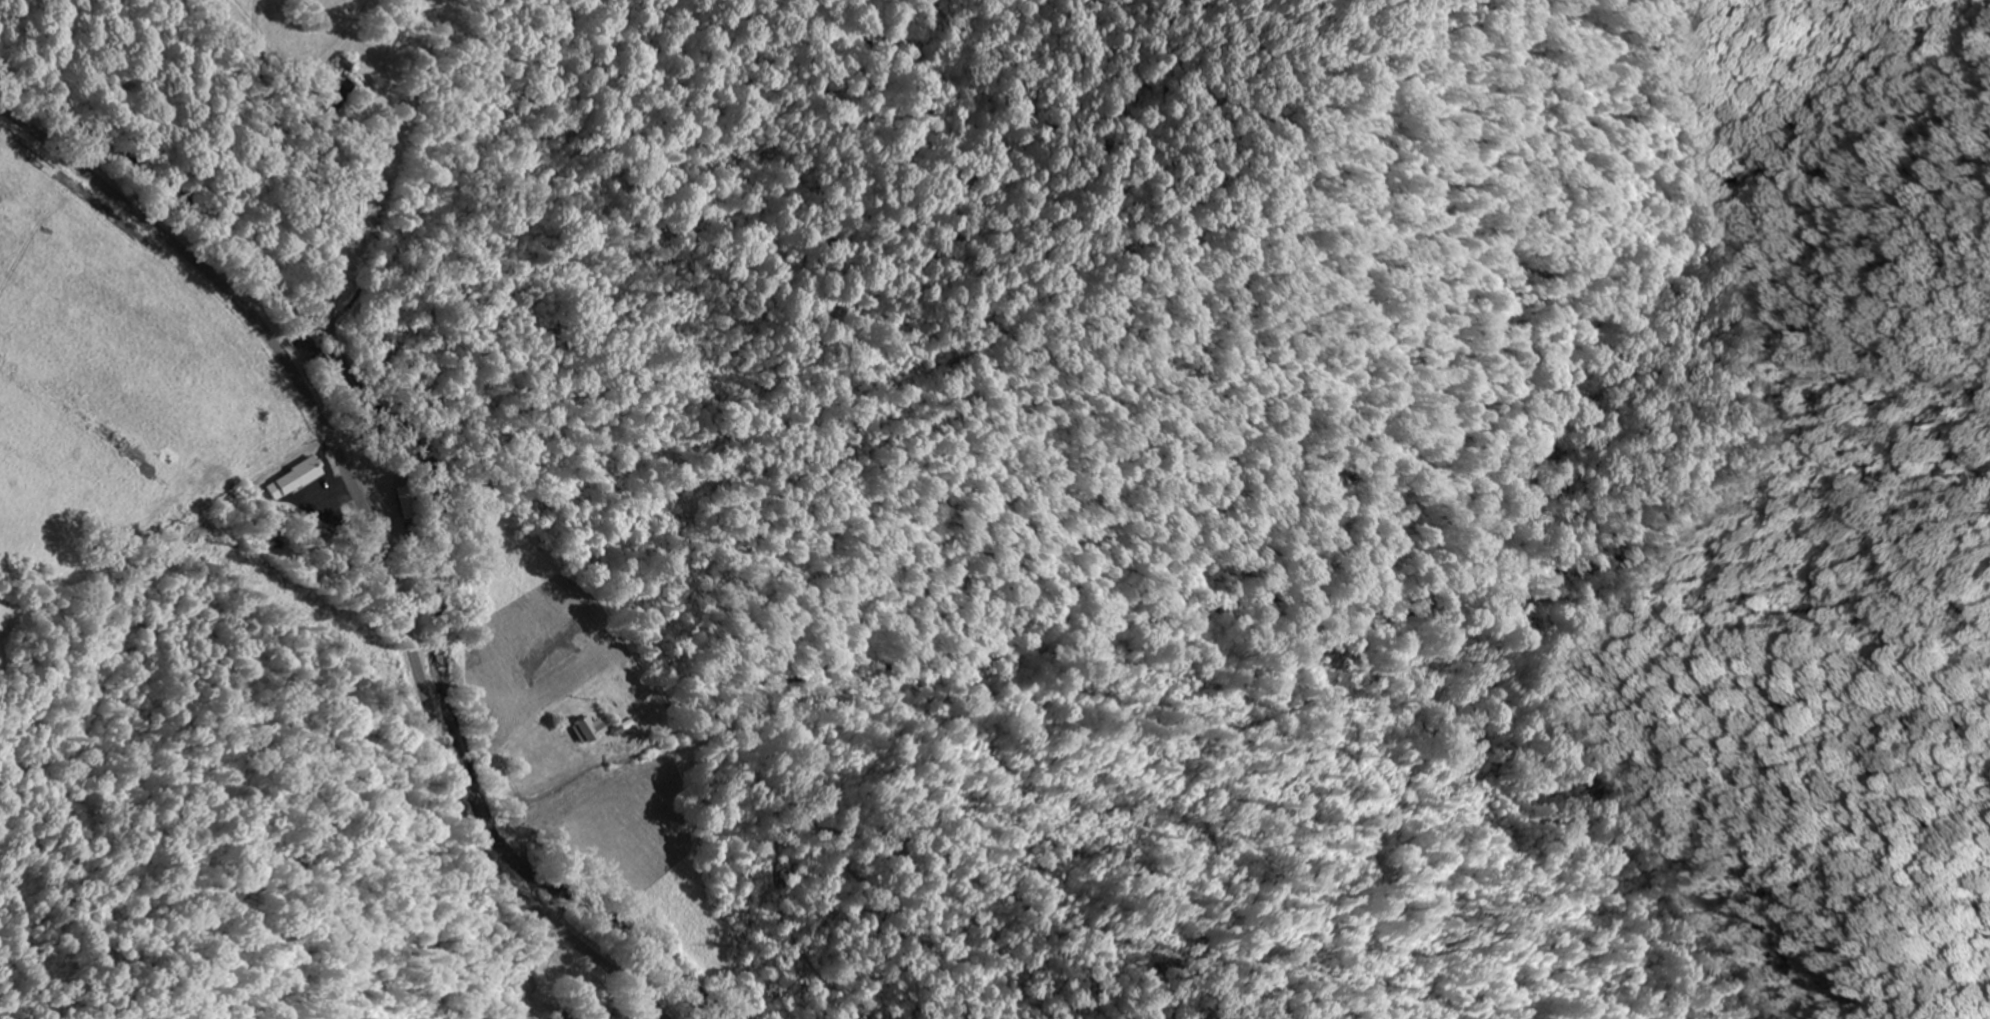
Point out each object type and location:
building: (354, 80)
building: (331, 92)
building: (290, 478)
road: (375, 536)
building: (590, 727)

